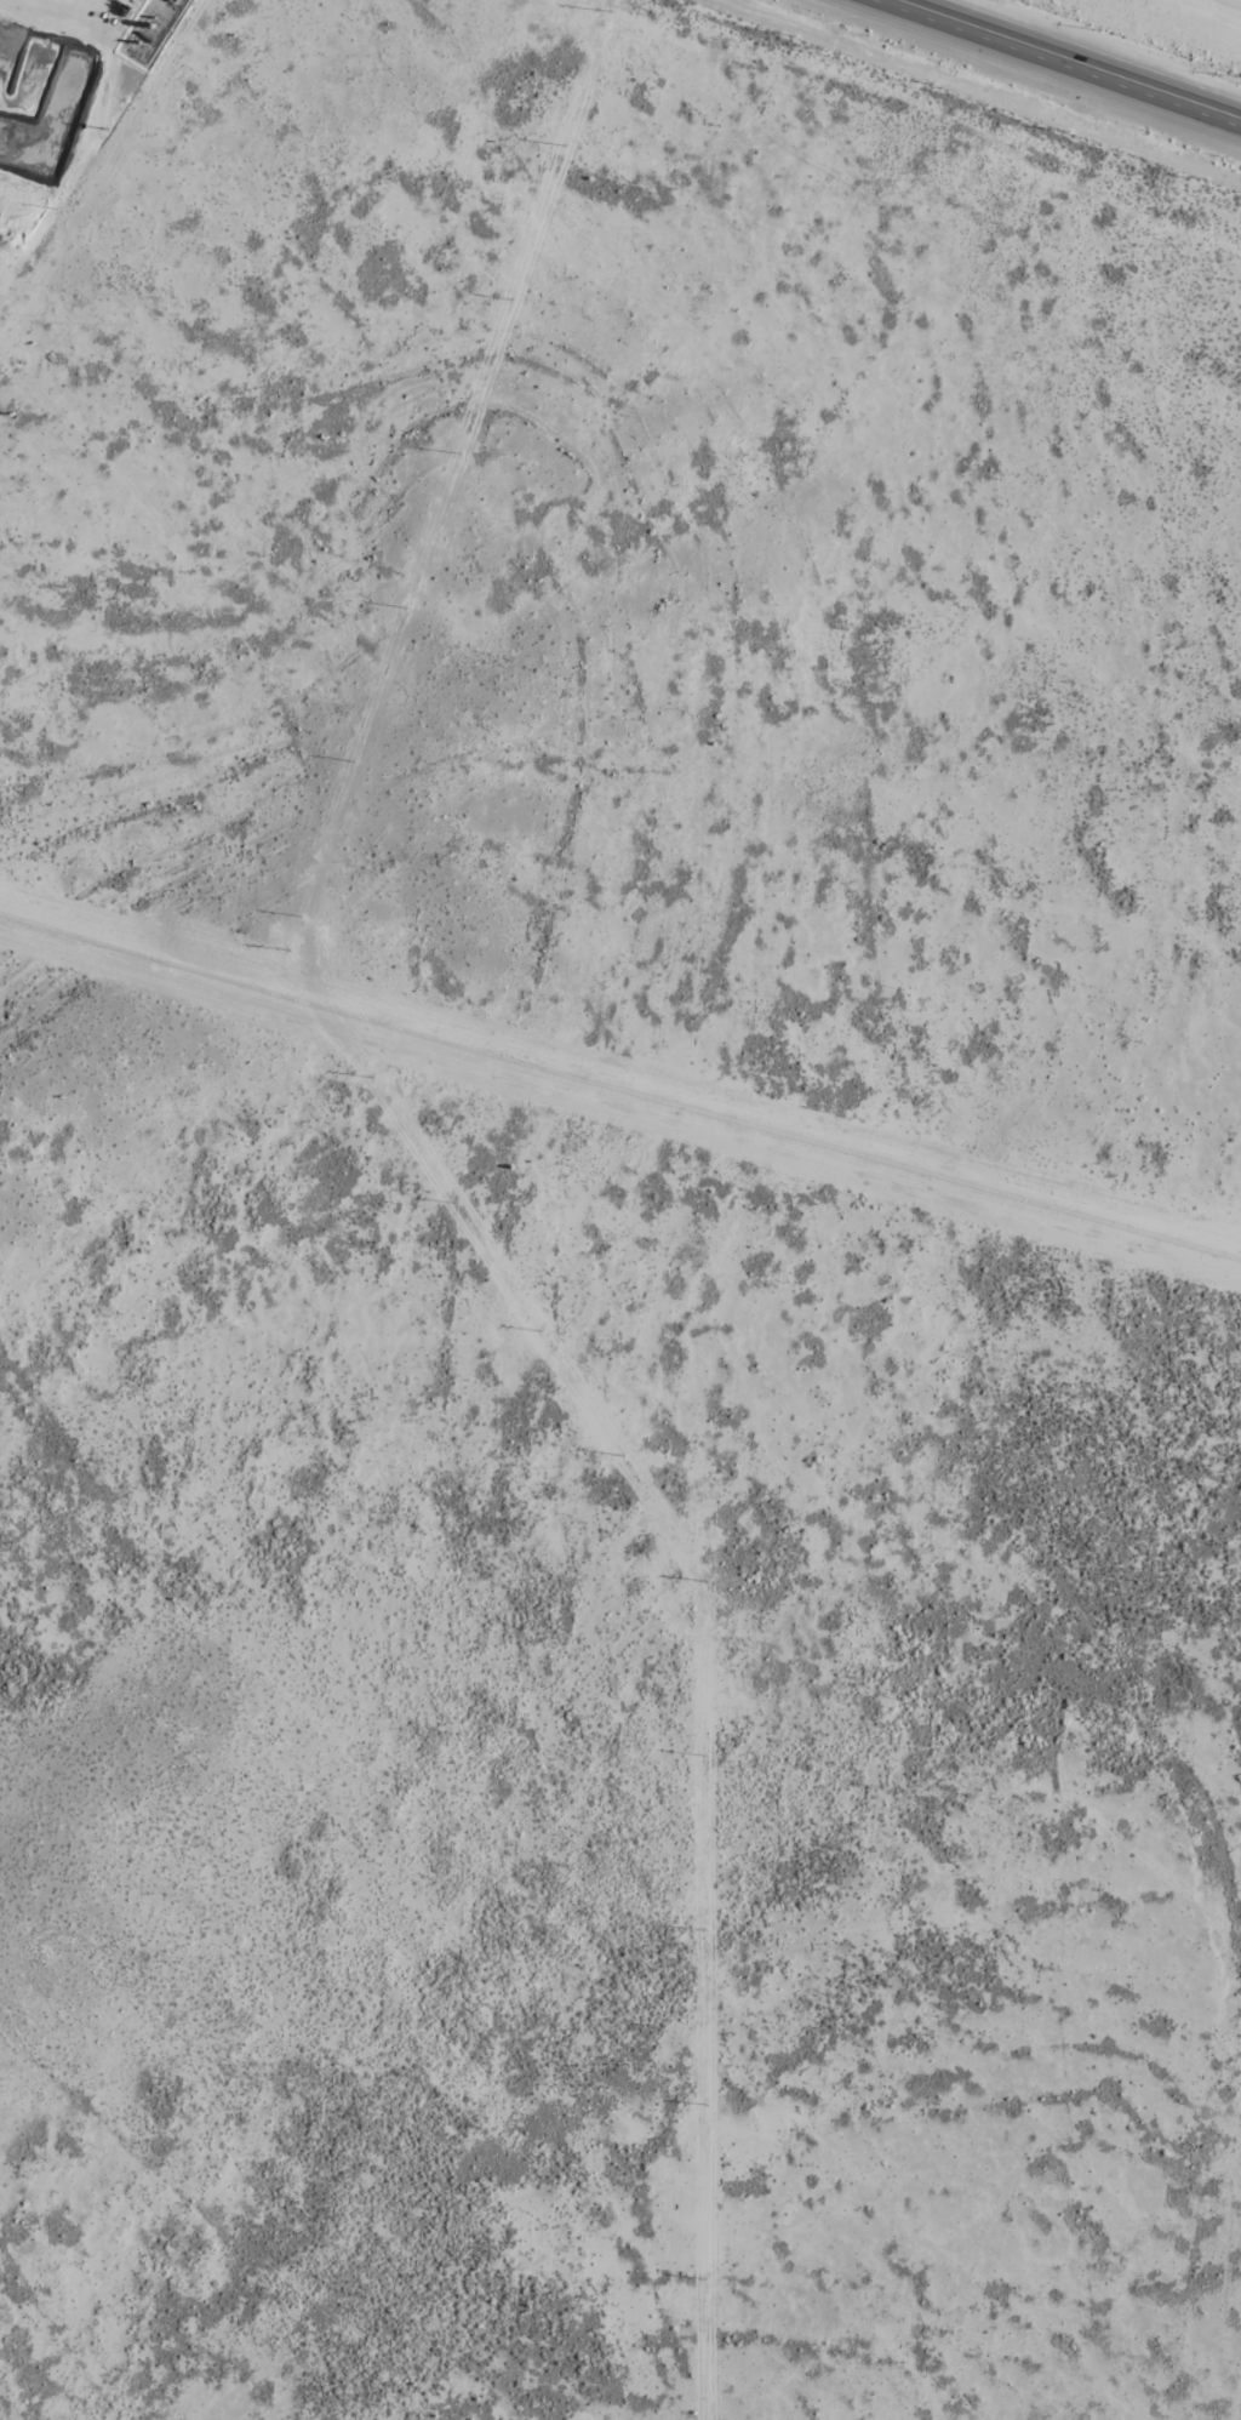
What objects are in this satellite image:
road: (1051, 67)

